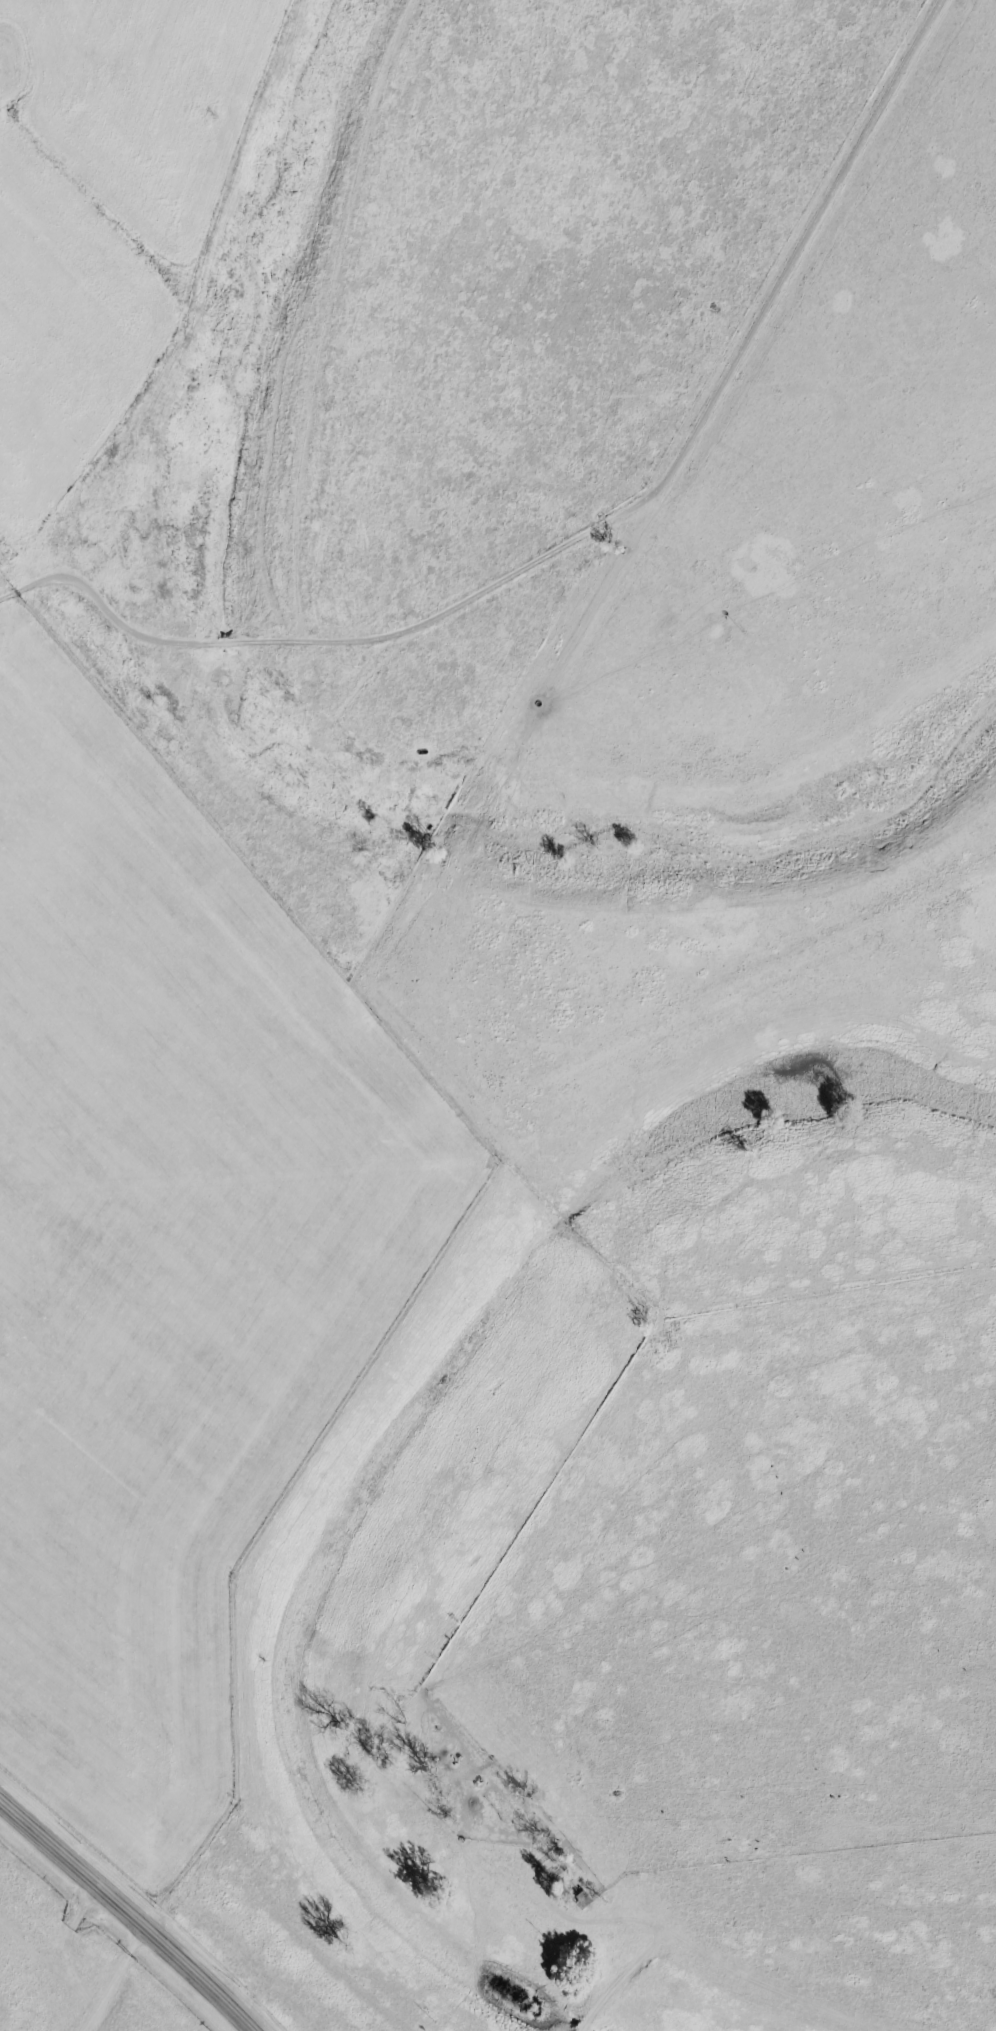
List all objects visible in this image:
railway: (175, 1849)
road: (130, 1906)
road: (143, 1948)

